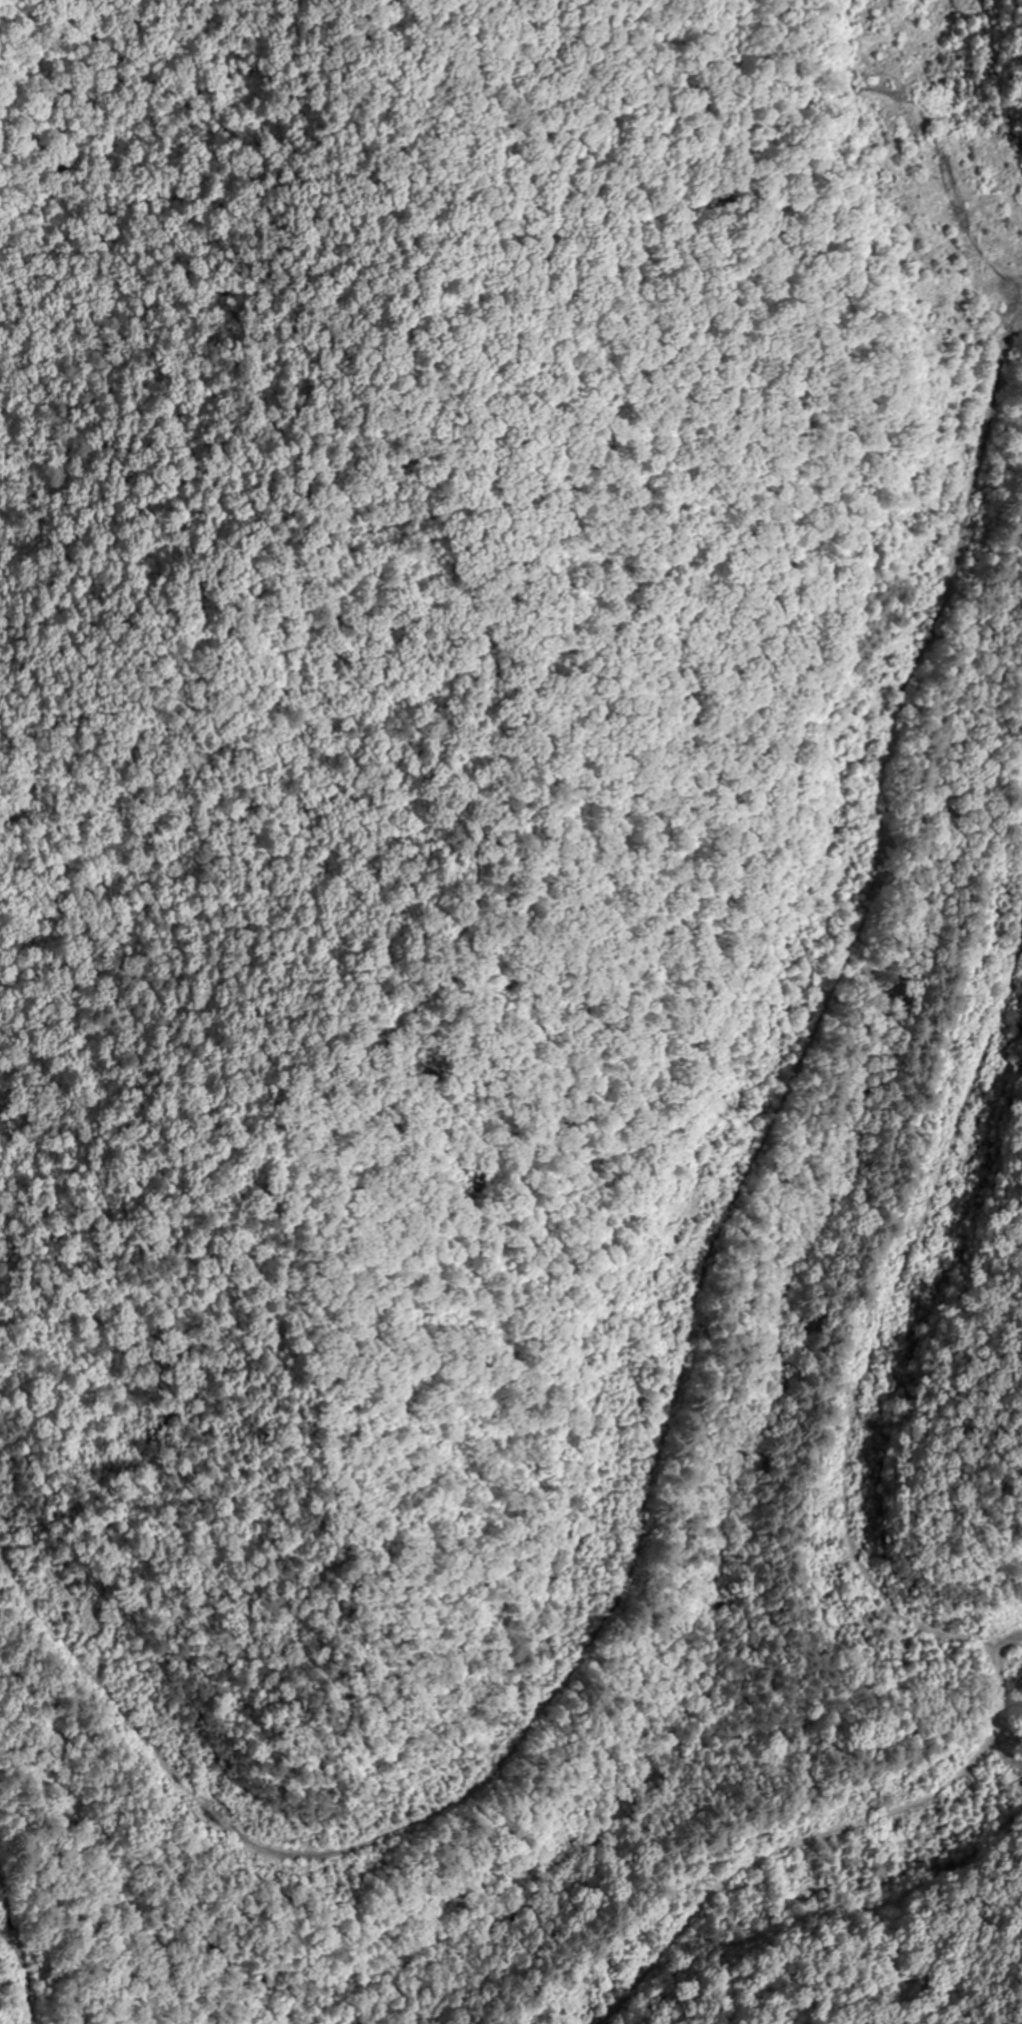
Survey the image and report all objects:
road: (9, 1971)

